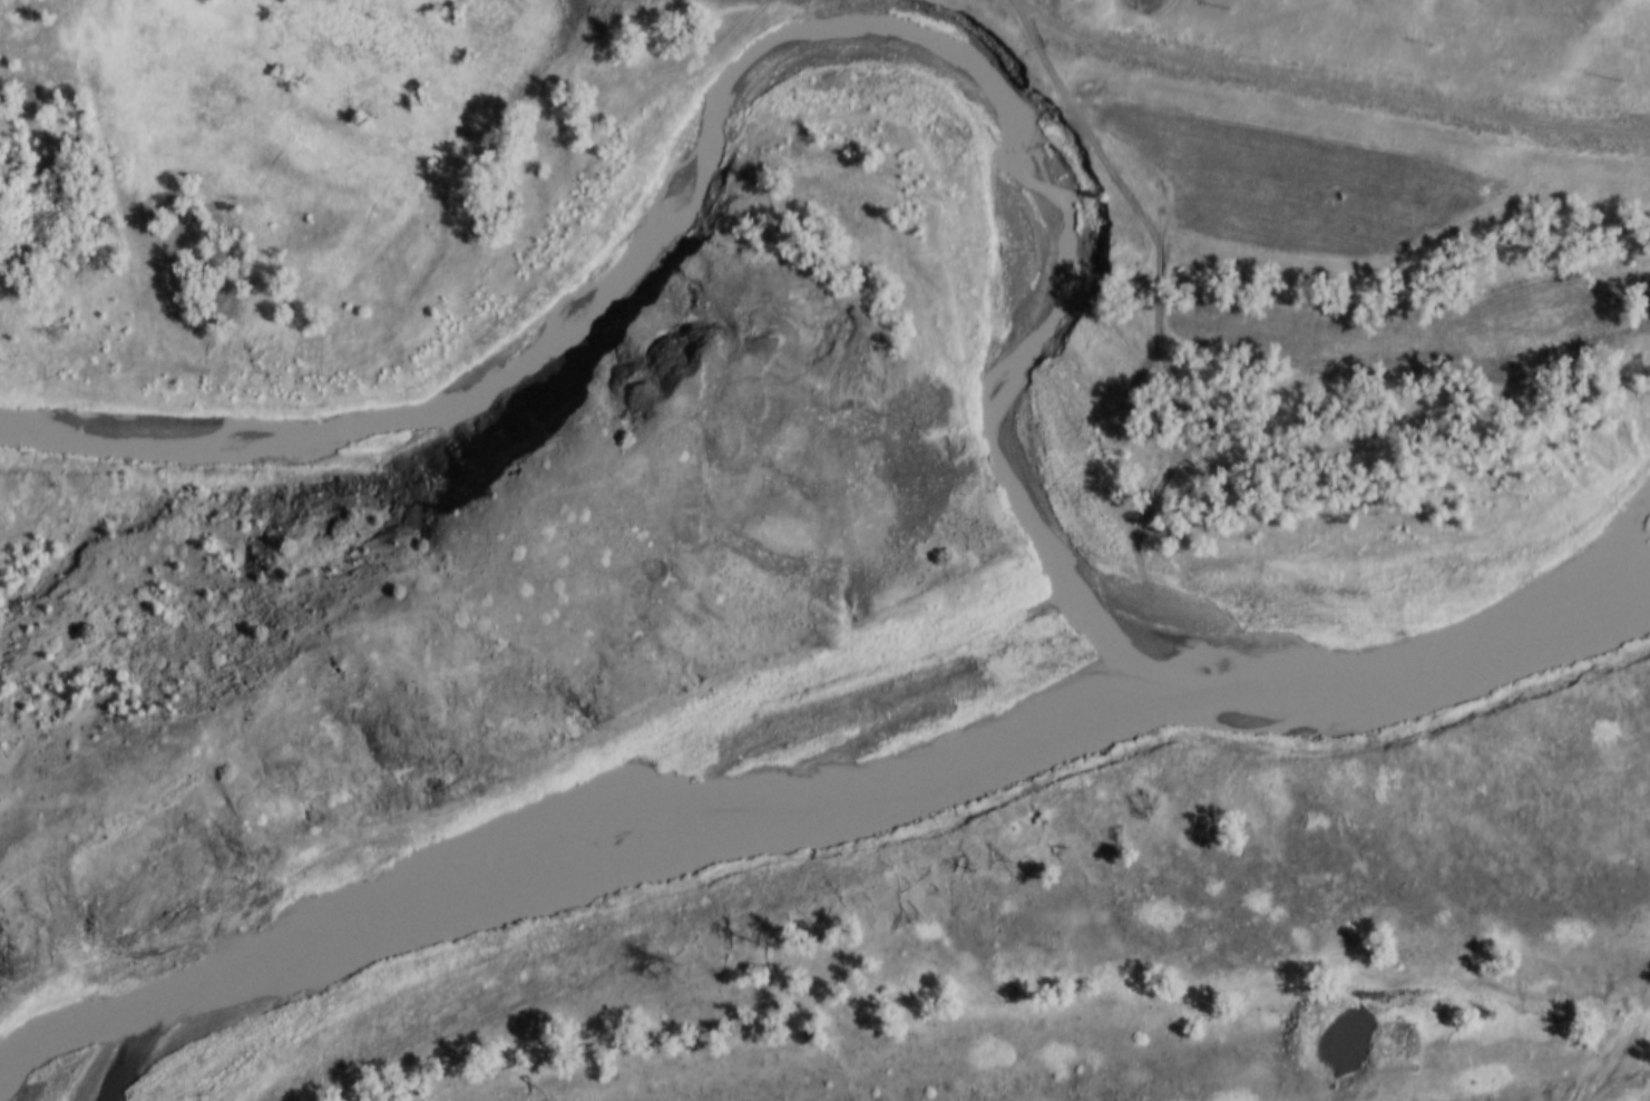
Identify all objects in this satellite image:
river: (751, 81)
road: (1330, 82)
road: (1153, 262)
road: (433, 291)
river: (816, 802)

